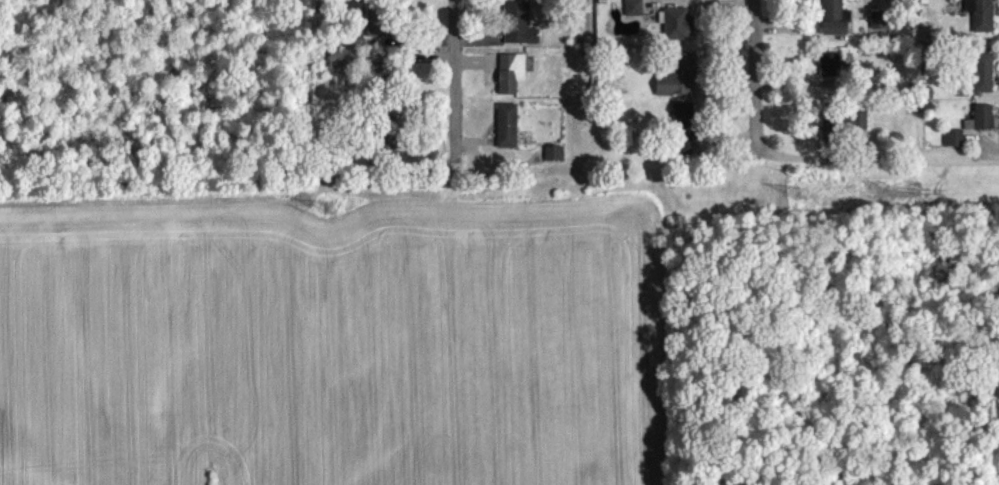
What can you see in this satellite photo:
building: (635, 15)
building: (983, 20)
building: (837, 25)
building: (379, 28)
building: (882, 29)
building: (521, 32)
building: (679, 32)
building: (344, 66)
road: (455, 69)
building: (832, 72)
road: (758, 77)
building: (512, 81)
building: (984, 81)
building: (680, 85)
building: (843, 131)
building: (509, 134)
building: (684, 136)
building: (956, 146)
building: (555, 162)
power tower: (797, 192)

